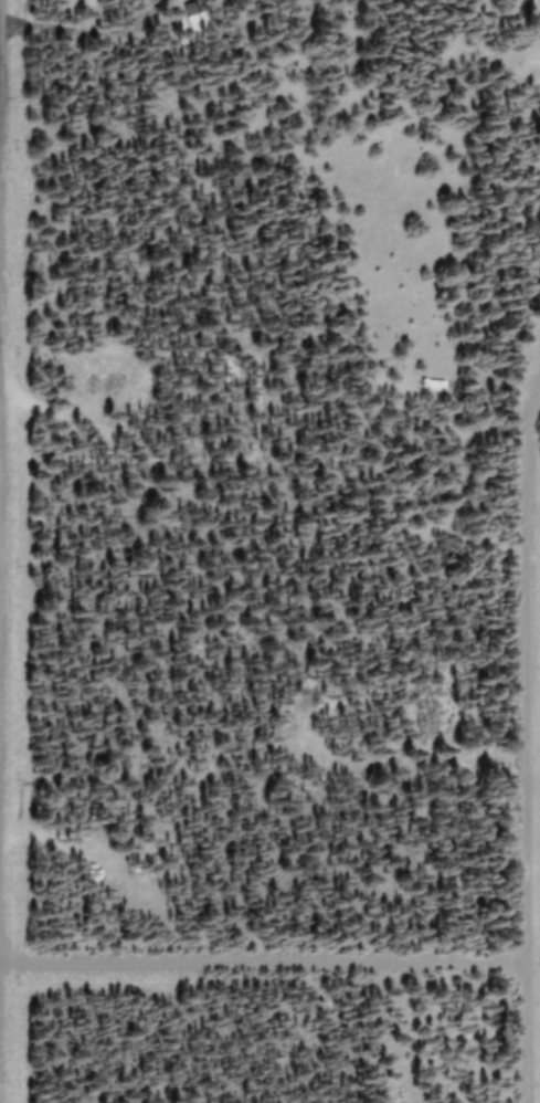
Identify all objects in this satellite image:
road: (521, 732)
road: (261, 963)

